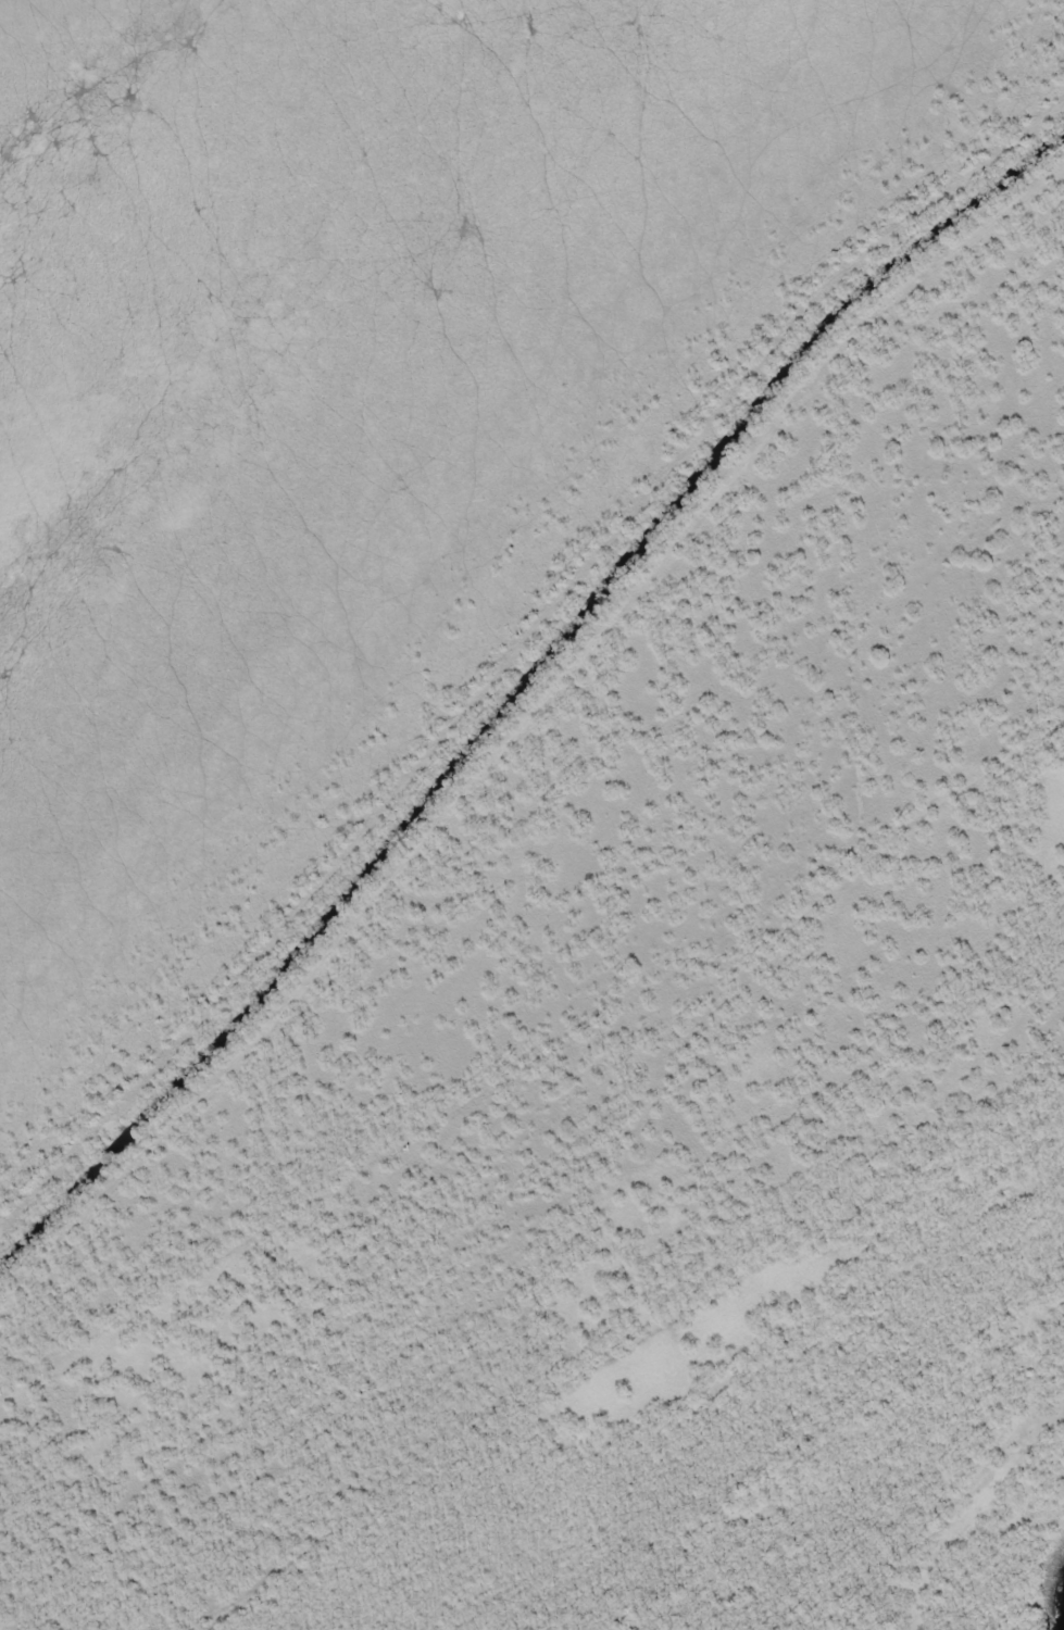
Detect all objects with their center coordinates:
road: (950, 1495)

